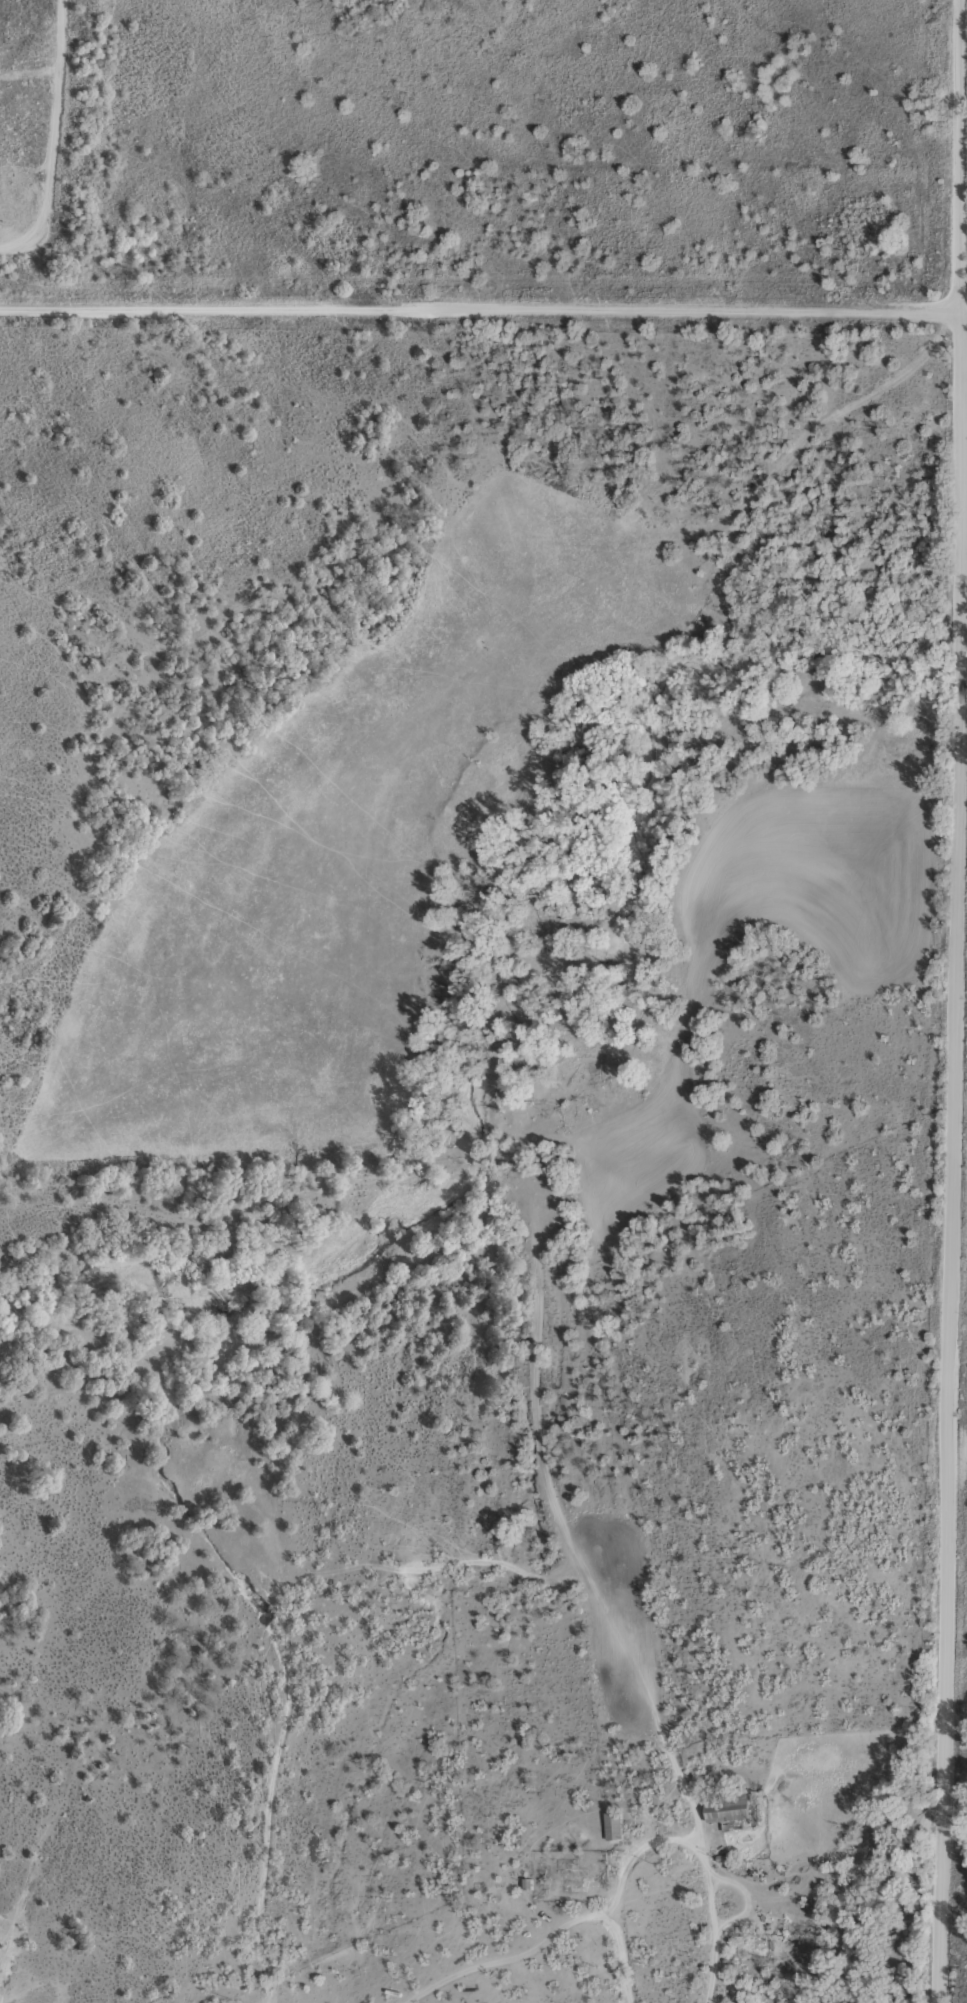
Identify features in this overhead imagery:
road: (483, 312)
road: (958, 1001)
crop: (484, 1337)
road: (506, 1555)
building: (731, 1809)
building: (612, 1826)
road: (863, 1896)
road: (604, 1902)

